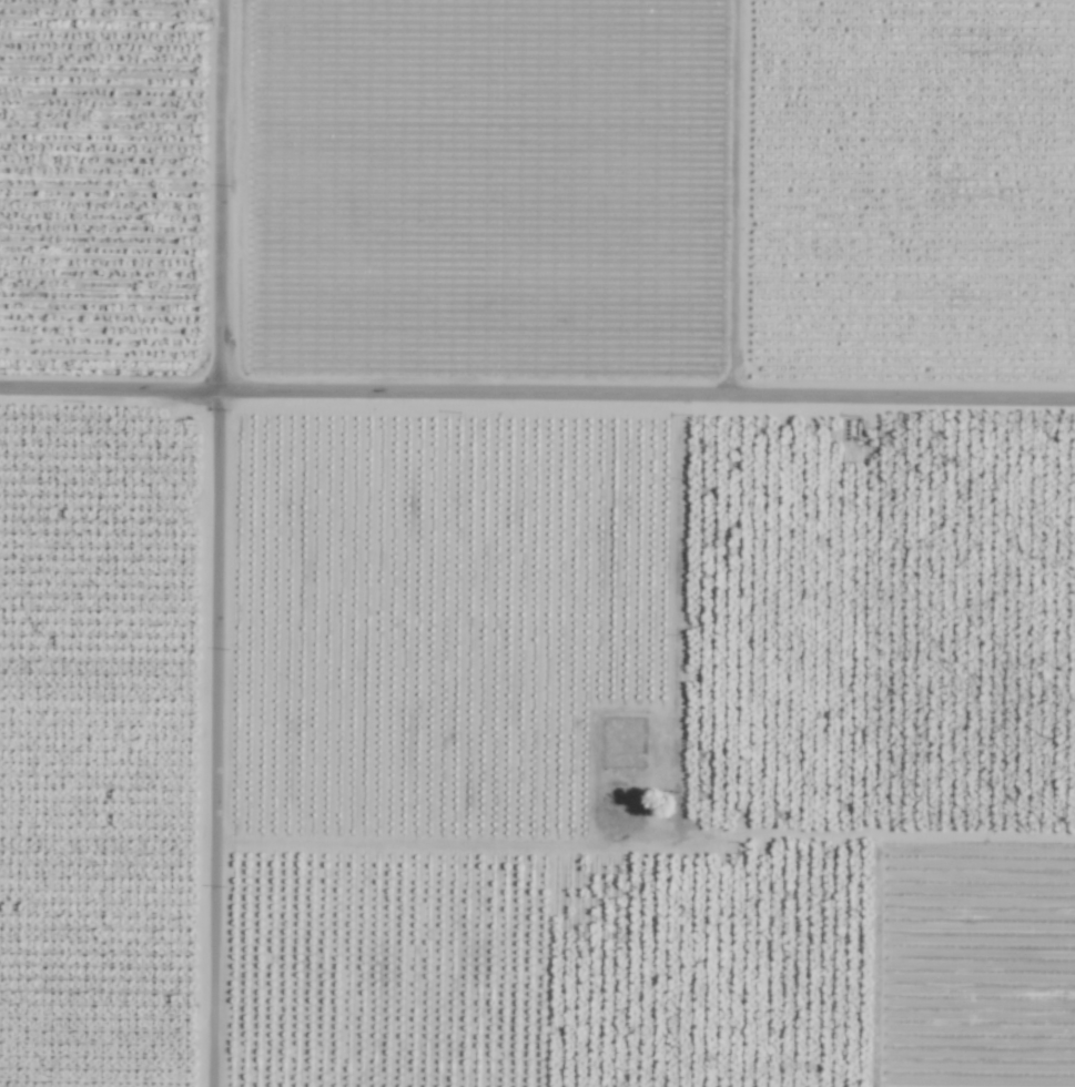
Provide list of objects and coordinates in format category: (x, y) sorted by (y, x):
road: (537, 393)
road: (219, 543)

